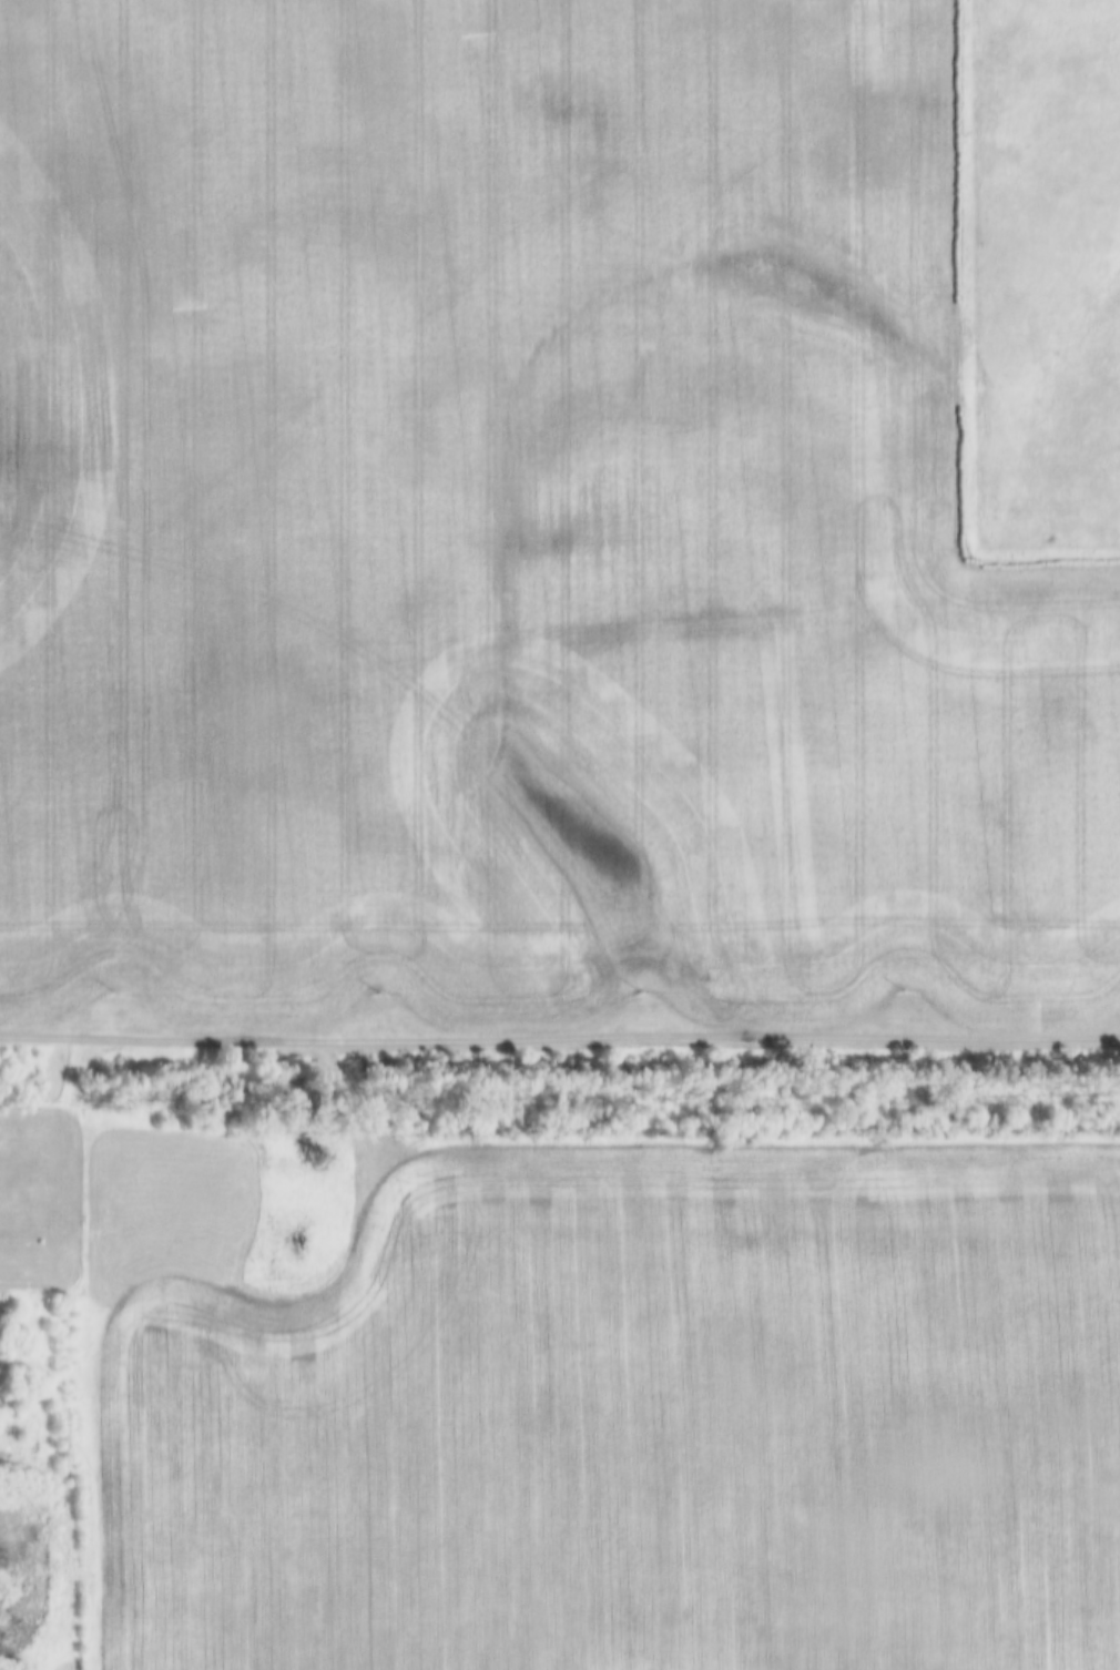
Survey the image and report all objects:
road: (560, 1043)

